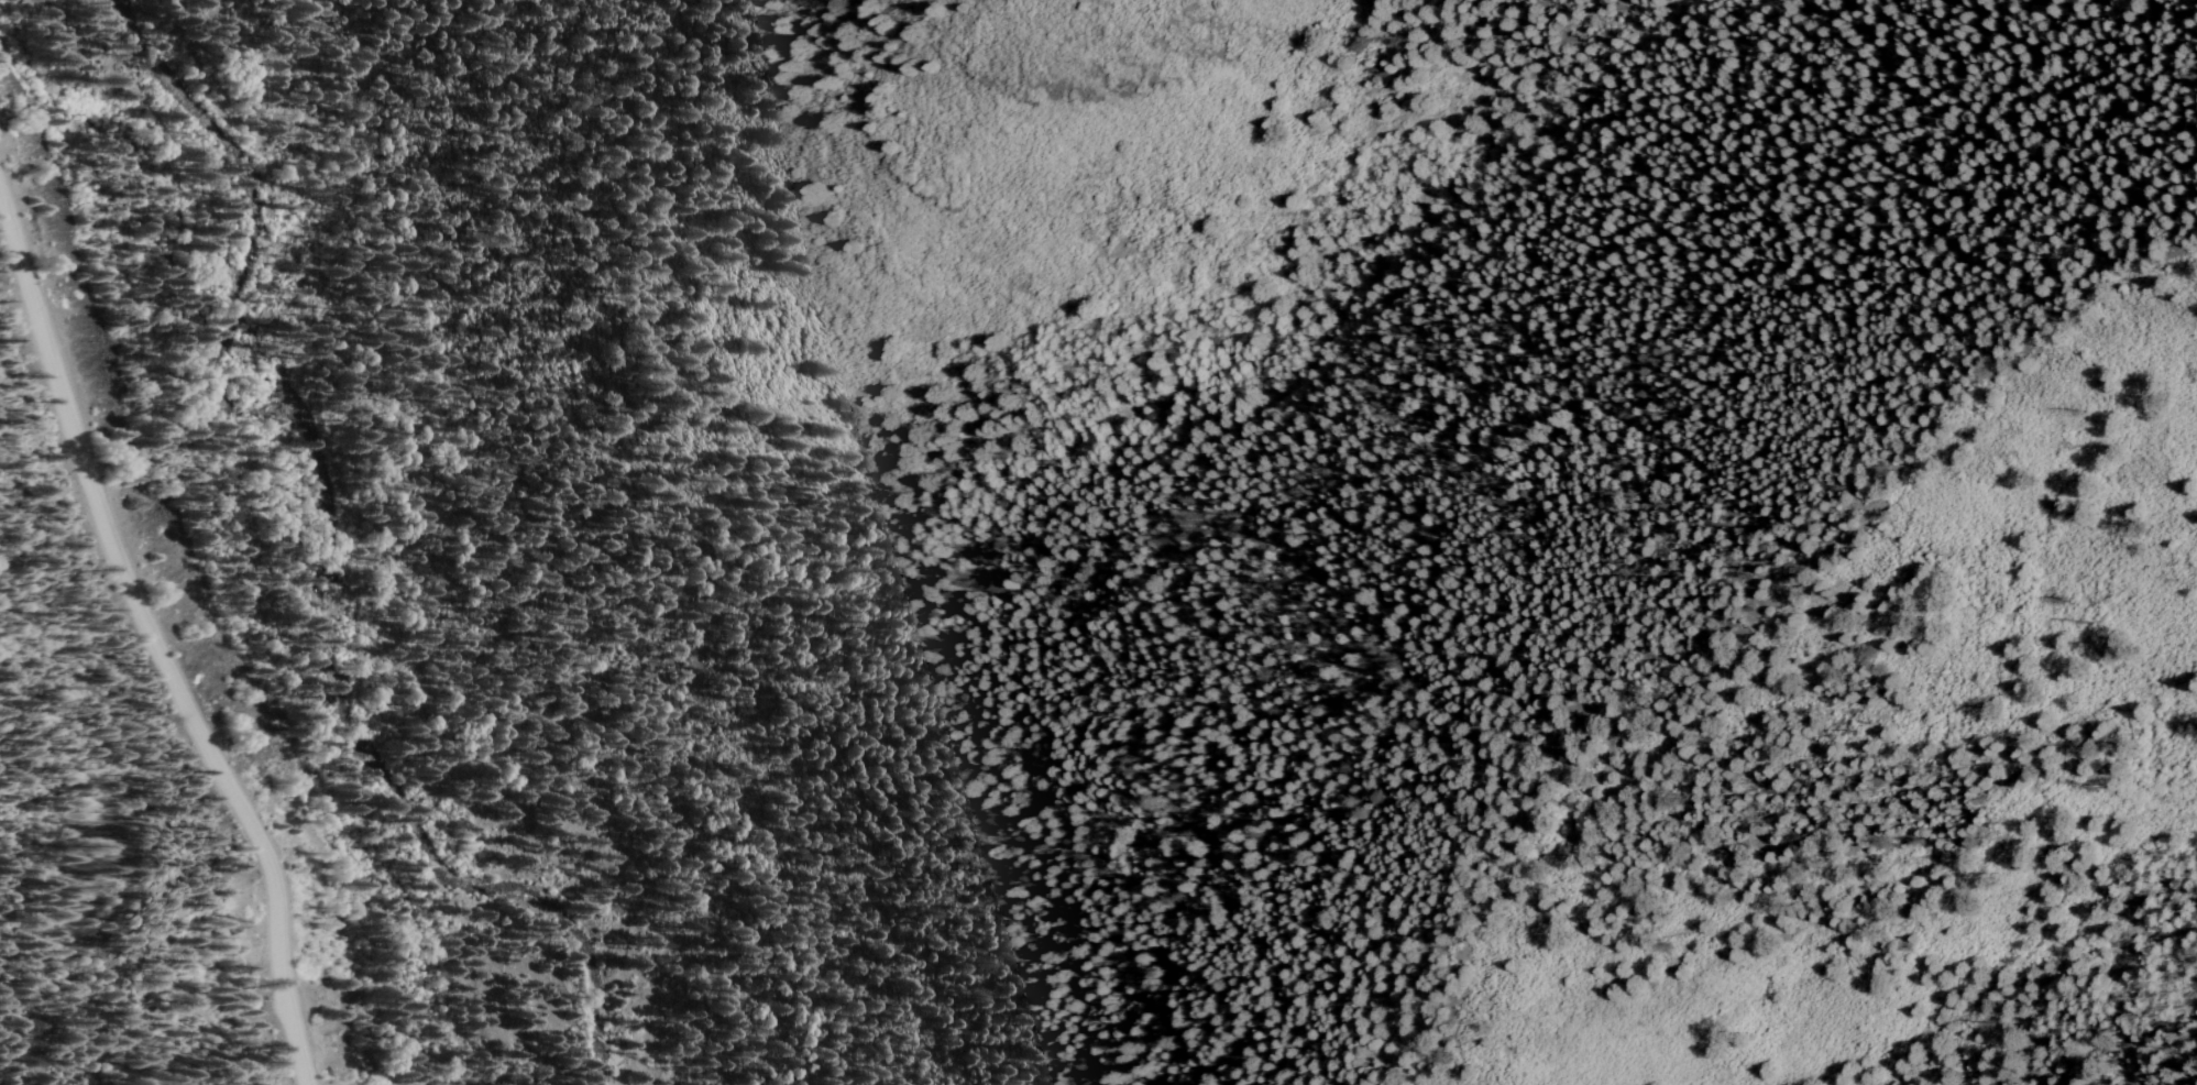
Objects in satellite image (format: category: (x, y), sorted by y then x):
river: (297, 550)
road: (156, 643)

